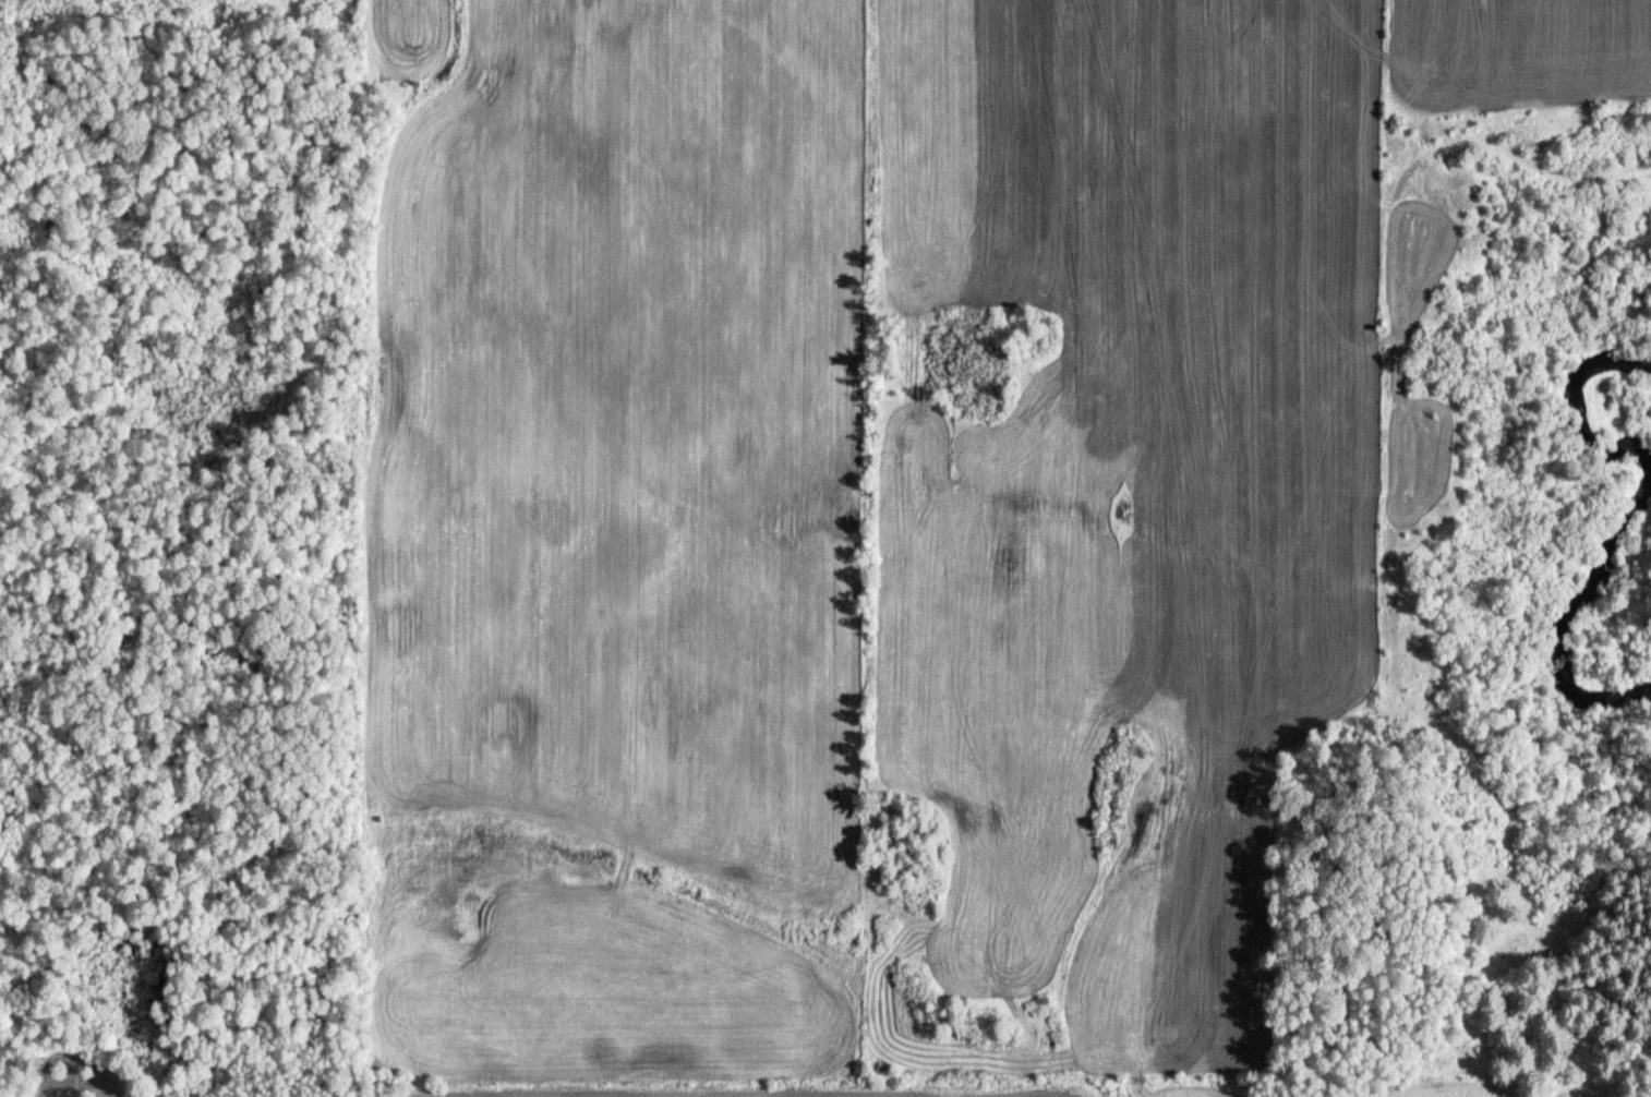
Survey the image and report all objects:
river: (1578, 406)
river: (1569, 615)

